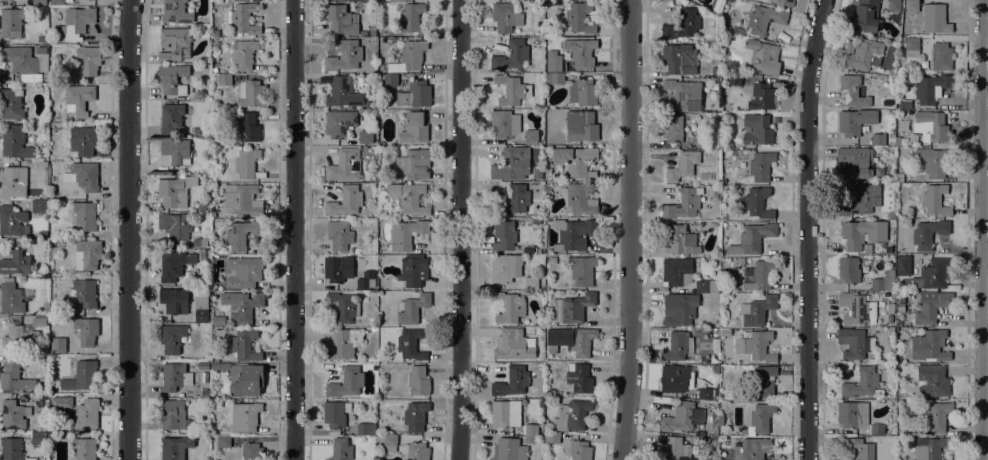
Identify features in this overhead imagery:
building: (5, 2)
building: (39, 2)
building: (57, 2)
building: (783, 2)
building: (894, 6)
building: (175, 11)
building: (911, 15)
building: (506, 16)
building: (865, 16)
building: (579, 17)
building: (242, 18)
building: (412, 18)
building: (937, 18)
building: (764, 19)
building: (341, 20)
building: (76, 22)
building: (10, 23)
building: (683, 25)
building: (372, 32)
building: (215, 33)
building: (42, 39)
building: (394, 40)
building: (173, 42)
building: (912, 43)
building: (41, 50)
building: (580, 52)
building: (861, 53)
building: (244, 54)
building: (344, 55)
building: (511, 56)
building: (941, 56)
building: (408, 57)
building: (760, 57)
building: (19, 59)
building: (89, 59)
building: (679, 59)
building: (553, 61)
building: (40, 62)
building: (715, 72)
building: (172, 78)
building: (554, 78)
building: (224, 79)
building: (390, 79)
building: (734, 79)
building: (931, 88)
building: (511, 90)
building: (853, 91)
building: (583, 92)
building: (343, 93)
building: (250, 94)
building: (415, 94)
building: (684, 95)
building: (761, 97)
building: (78, 99)
building: (11, 104)
building: (171, 117)
building: (855, 121)
building: (339, 123)
building: (504, 123)
building: (585, 126)
building: (930, 126)
building: (247, 127)
building: (414, 127)
building: (675, 128)
building: (757, 129)
building: (530, 136)
building: (365, 137)
building: (891, 138)
building: (878, 139)
building: (702, 140)
building: (14, 141)
building: (82, 141)
building: (897, 141)
building: (176, 151)
building: (935, 160)
building: (575, 161)
building: (416, 163)
building: (854, 163)
building: (39, 164)
building: (247, 164)
building: (511, 164)
building: (344, 165)
building: (682, 166)
building: (761, 166)
building: (879, 172)
building: (547, 173)
building: (84, 176)
building: (539, 176)
building: (13, 181)
building: (547, 190)
building: (174, 191)
building: (408, 197)
building: (241, 199)
building: (580, 199)
building: (512, 200)
building: (935, 200)
building: (345, 201)
building: (861, 201)
building: (757, 202)
building: (683, 203)
building: (39, 206)
building: (200, 207)
building: (85, 215)
building: (13, 221)
building: (536, 221)
building: (716, 223)
building: (175, 225)
road: (127, 229)
road: (806, 229)
road: (293, 230)
road: (459, 230)
road: (629, 230)
road: (982, 230)
building: (242, 233)
building: (406, 233)
building: (928, 233)
building: (572, 234)
building: (340, 235)
building: (504, 235)
building: (852, 235)
building: (752, 238)
building: (681, 240)
building: (199, 242)
building: (529, 249)
building: (355, 250)
building: (86, 255)
building: (740, 261)
building: (15, 263)
building: (174, 265)
building: (903, 265)
building: (505, 267)
building: (913, 267)
building: (334, 269)
building: (849, 269)
building: (413, 270)
building: (582, 270)
building: (243, 272)
building: (676, 272)
building: (933, 274)
building: (758, 275)
building: (366, 280)
building: (884, 282)
building: (531, 283)
building: (707, 286)
building: (83, 293)
building: (10, 297)
building: (174, 300)
building: (241, 305)
building: (890, 306)
building: (507, 307)
building: (900, 307)
building: (342, 308)
building: (413, 308)
building: (572, 308)
building: (680, 308)
building: (856, 308)
building: (932, 308)
building: (759, 310)
building: (201, 315)
building: (218, 320)
building: (39, 322)
building: (898, 323)
building: (86, 330)
building: (726, 332)
building: (172, 338)
building: (19, 339)
building: (572, 339)
building: (341, 342)
building: (854, 343)
building: (411, 344)
building: (509, 344)
building: (58, 345)
building: (245, 345)
building: (678, 346)
building: (756, 346)
building: (927, 346)
building: (215, 359)
building: (215, 365)
building: (203, 366)
building: (82, 376)
building: (175, 377)
building: (204, 377)
building: (579, 377)
building: (14, 378)
building: (676, 378)
building: (547, 379)
building: (933, 380)
building: (248, 381)
building: (418, 381)
building: (512, 381)
building: (347, 382)
building: (763, 382)
building: (861, 382)
building: (552, 391)
building: (205, 392)
building: (706, 395)
building: (53, 397)
building: (38, 403)
building: (336, 413)
building: (507, 413)
building: (14, 414)
building: (87, 414)
building: (173, 414)
building: (852, 414)
building: (572, 415)
building: (415, 416)
building: (937, 416)
building: (245, 417)
building: (684, 417)
building: (720, 419)
building: (760, 419)
building: (366, 429)
building: (530, 429)
building: (877, 429)
building: (83, 434)
building: (550, 436)
building: (38, 438)
building: (529, 439)
building: (223, 440)
building: (387, 442)
building: (175, 447)
building: (84, 448)
building: (751, 448)
building: (12, 449)
building: (341, 449)
building: (508, 449)
building: (675, 449)
building: (929, 449)
building: (579, 450)
building: (855, 450)
building: (251, 451)
building: (417, 451)
building: (947, 459)

